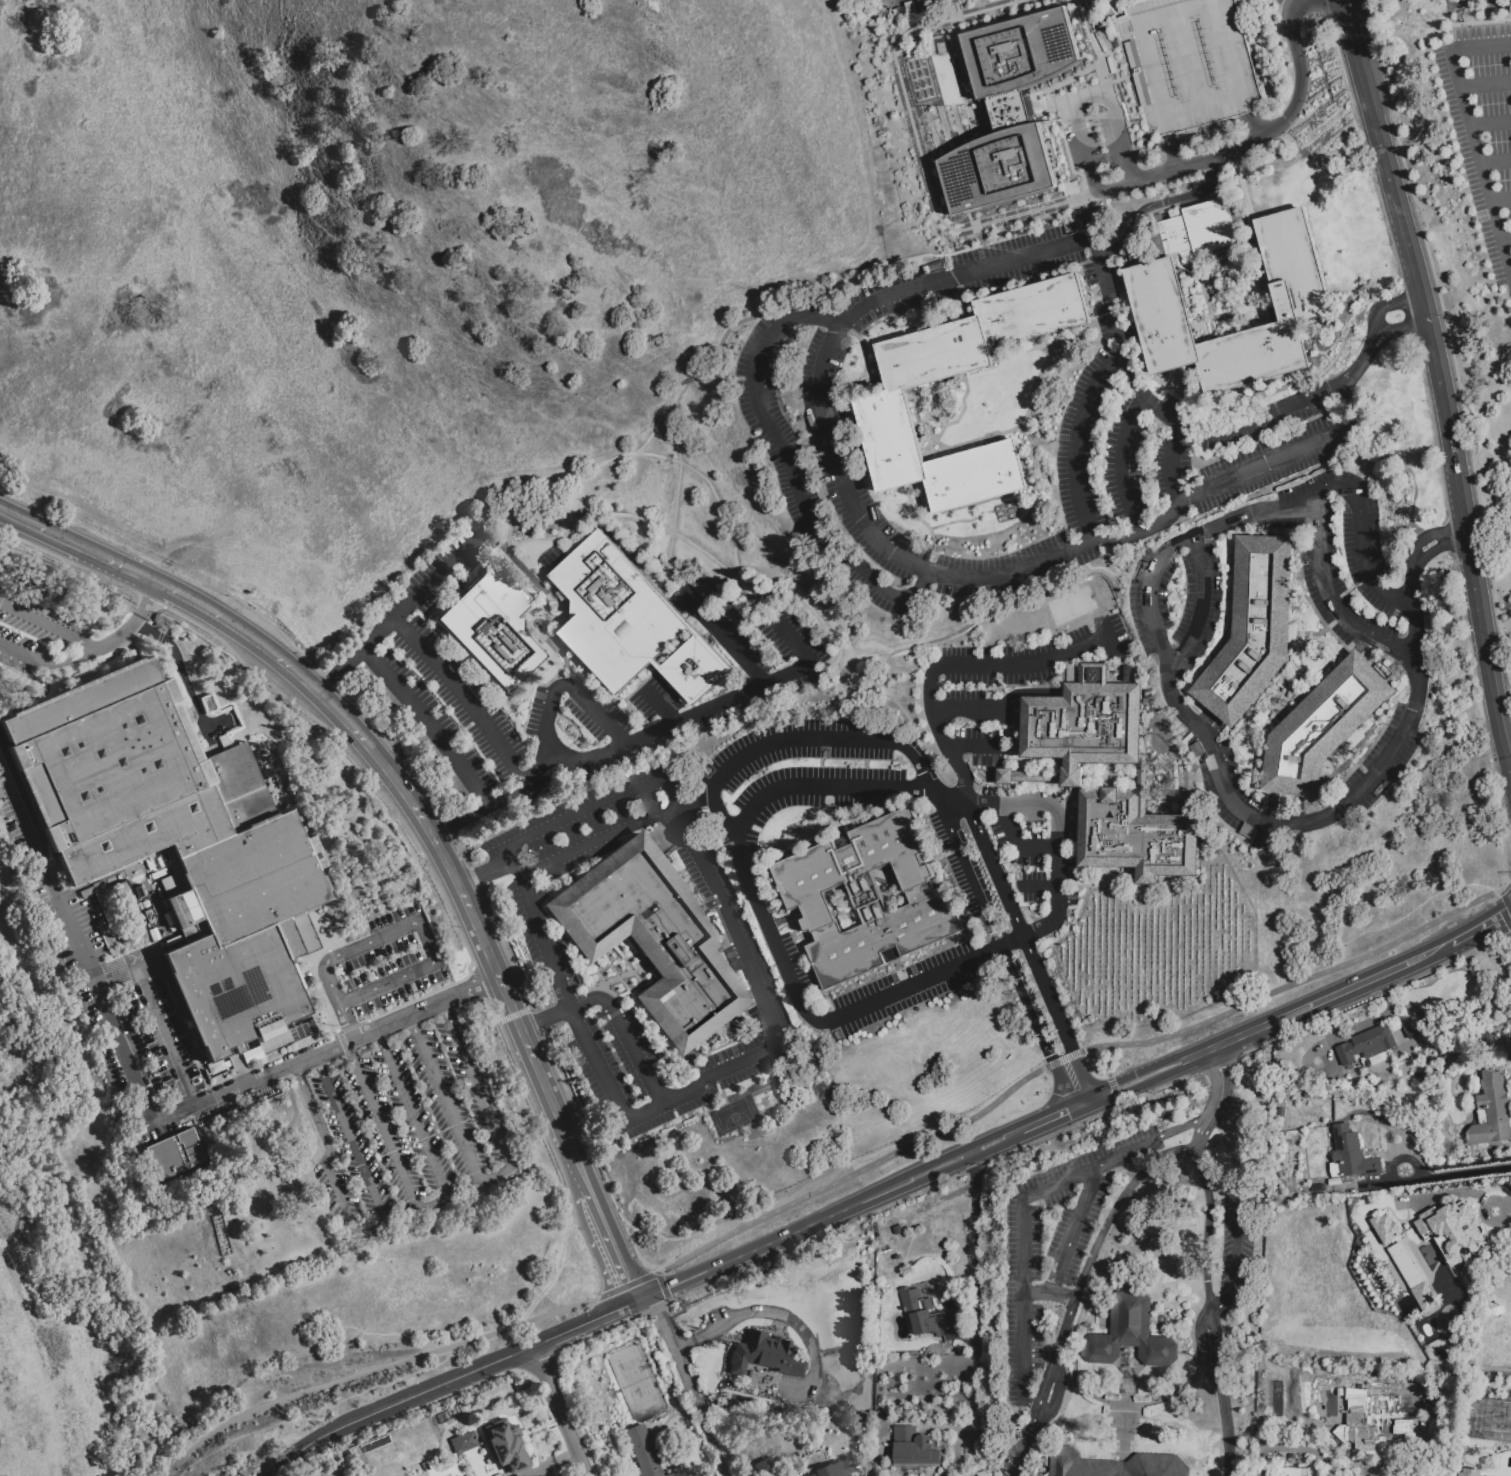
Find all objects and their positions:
parking lot: (878, 1)
building: (1318, 28)
road: (1351, 28)
building: (938, 46)
road: (1098, 53)
building: (1188, 63)
parking garage: (1188, 63)
road: (959, 73)
road: (1485, 85)
road: (1070, 95)
road: (1091, 99)
road: (1126, 103)
building: (1010, 109)
road: (1490, 125)
parking lot: (1482, 126)
road: (1470, 129)
parking lot: (1102, 140)
road: (1066, 153)
road: (1173, 153)
road: (1495, 161)
building: (1071, 188)
road: (1501, 200)
road: (1155, 205)
road: (1020, 216)
road: (1506, 239)
building: (934, 268)
road: (878, 270)
building: (1156, 291)
building: (166, 298)
road: (1383, 309)
building: (1034, 311)
road: (1397, 329)
road: (728, 333)
building: (935, 354)
road: (1358, 364)
road: (1448, 407)
road: (1172, 420)
building: (893, 440)
road: (1432, 440)
road: (1080, 444)
road: (1285, 454)
road: (1363, 459)
road: (615, 460)
road: (835, 460)
road: (1124, 461)
road: (1175, 462)
road: (790, 469)
building: (976, 476)
road: (22, 519)
road: (674, 520)
road: (961, 520)
road: (923, 522)
building: (473, 527)
road: (577, 531)
road: (1426, 538)
road: (1435, 549)
road: (100, 556)
road: (709, 557)
road: (776, 562)
road: (823, 584)
road: (424, 592)
building: (1108, 594)
road: (147, 599)
road: (189, 599)
road: (1329, 599)
road: (1200, 611)
building: (616, 612)
fountain: (537, 623)
road: (48, 625)
building: (493, 626)
building: (1253, 629)
road: (120, 633)
road: (253, 640)
parking lot: (42, 643)
road: (727, 644)
road: (24, 655)
road: (73, 659)
road: (955, 667)
road: (180, 668)
building: (695, 669)
road: (343, 674)
road: (569, 685)
road: (467, 697)
road: (1177, 698)
building: (210, 706)
road: (663, 706)
road: (996, 708)
road: (678, 722)
road: (431, 727)
building: (1322, 728)
building: (224, 741)
road: (799, 741)
building: (1192, 742)
road: (972, 748)
building: (1198, 752)
building: (1041, 778)
road: (824, 786)
road: (934, 799)
road: (580, 811)
road: (417, 812)
road: (471, 815)
building: (702, 823)
road: (947, 828)
building: (1247, 831)
road: (599, 838)
road: (1057, 839)
building: (1243, 840)
building: (178, 843)
road: (1016, 844)
road: (988, 856)
building: (159, 873)
road: (483, 874)
building: (695, 876)
road: (1508, 886)
road: (1047, 889)
building: (94, 891)
building: (139, 891)
building: (868, 899)
road: (1505, 901)
road: (156, 907)
road: (722, 913)
building: (149, 916)
road: (1070, 925)
road: (1479, 932)
building: (154, 934)
building: (653, 937)
road: (424, 942)
road: (76, 944)
road: (130, 959)
parking lot: (390, 960)
road: (965, 963)
road: (787, 973)
road: (1012, 974)
building: (523, 981)
road: (1297, 981)
road: (332, 986)
road: (1302, 1000)
road: (612, 1011)
road: (1064, 1012)
road: (1056, 1014)
road: (516, 1018)
road: (346, 1020)
building: (1412, 1029)
parking lot: (136, 1031)
road: (162, 1031)
road: (1267, 1031)
building: (289, 1037)
building: (1366, 1045)
road: (325, 1048)
building: (253, 1057)
building: (779, 1059)
road: (1063, 1059)
building: (219, 1067)
road: (600, 1070)
building: (737, 1077)
building: (159, 1089)
road: (1114, 1090)
building: (163, 1095)
building: (1307, 1095)
road: (1078, 1097)
road: (1212, 1098)
road: (1224, 1098)
road: (1087, 1101)
road: (1076, 1106)
building: (1491, 1111)
road: (555, 1118)
building: (1386, 1122)
road: (1051, 1124)
parking lot: (405, 1125)
road: (1181, 1127)
road: (1195, 1142)
building: (178, 1152)
building: (1351, 1156)
road: (932, 1163)
road: (853, 1173)
road: (1467, 1173)
road: (498, 1175)
building: (1335, 1182)
road: (909, 1185)
road: (432, 1201)
road: (1236, 1225)
road: (366, 1227)
road: (1074, 1227)
building: (1386, 1229)
road: (1207, 1231)
building: (1455, 1231)
road: (1022, 1234)
road: (607, 1246)
road: (752, 1250)
road: (1082, 1277)
road: (626, 1285)
road: (662, 1286)
road: (667, 1286)
road: (1049, 1290)
building: (1424, 1297)
road: (1220, 1307)
road: (977, 1310)
building: (921, 1312)
road: (780, 1314)
building: (1130, 1333)
road: (1213, 1346)
road: (1203, 1348)
building: (766, 1355)
road: (397, 1361)
road: (1488, 1375)
road: (446, 1381)
road: (688, 1385)
road: (318, 1407)
road: (559, 1410)
building: (1370, 1419)
road: (1225, 1425)
building: (1403, 1427)
building: (463, 1442)
building: (506, 1446)
building: (644, 1449)
building: (914, 1449)
road: (1017, 1449)
road: (1305, 1449)
road: (183, 1456)
building: (1116, 1465)
building: (762, 1466)
building: (835, 1469)
building: (1293, 1472)
building: (1467, 1473)
building: (671, 1474)

